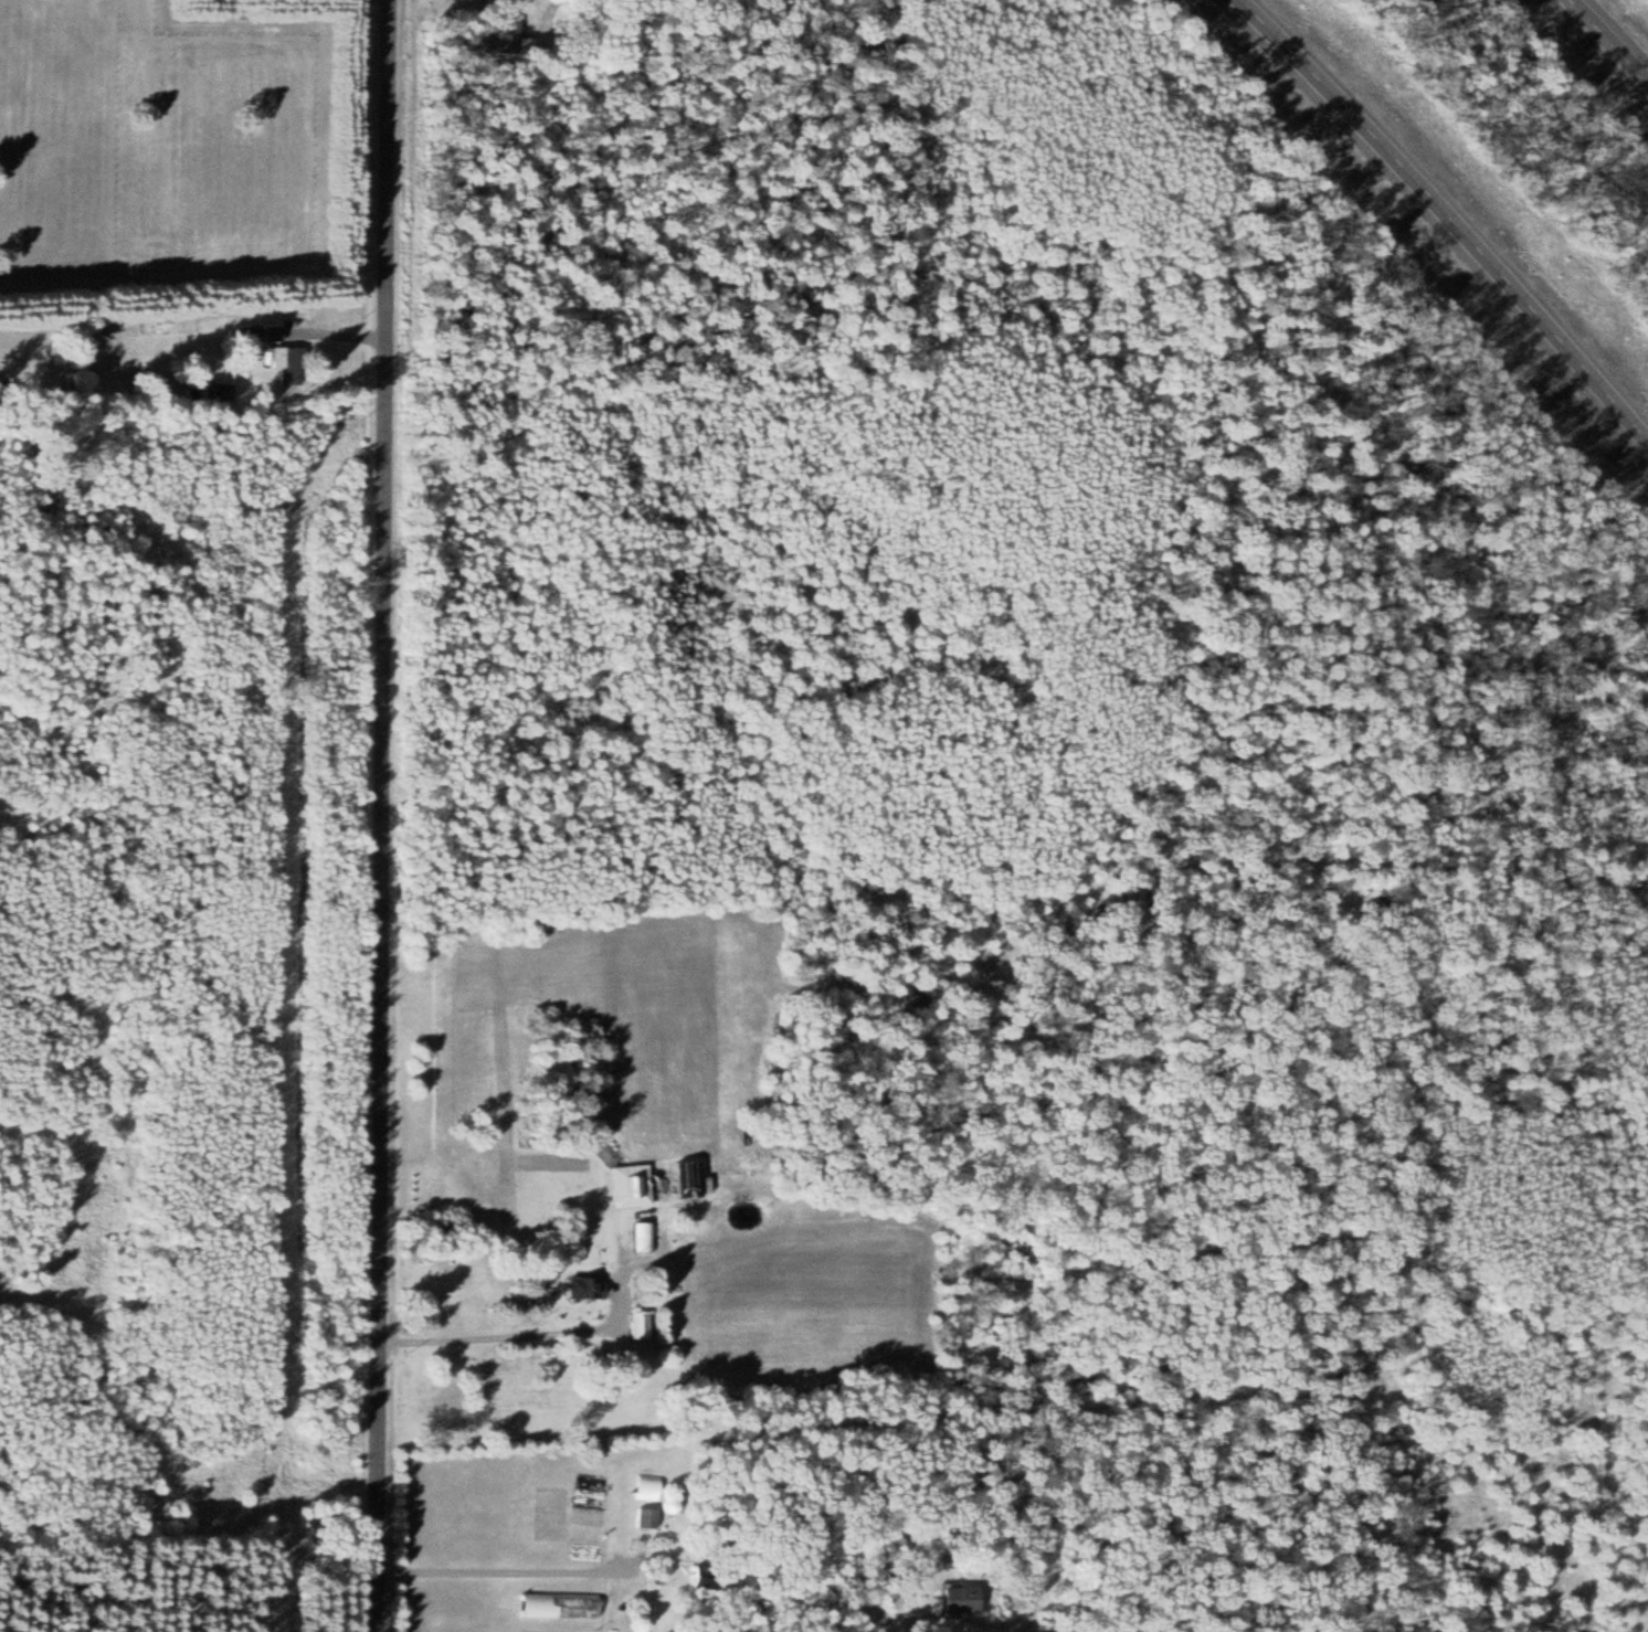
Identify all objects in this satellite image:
building: (498, 33)
road: (1608, 41)
road: (1443, 221)
building: (290, 364)
road: (383, 816)
building: (634, 1186)
building: (643, 1234)
building: (589, 1286)
building: (642, 1323)
building: (591, 1482)
building: (590, 1516)
building: (649, 1516)
building: (551, 1517)
building: (953, 1598)
building: (563, 1604)
building: (558, 1631)

